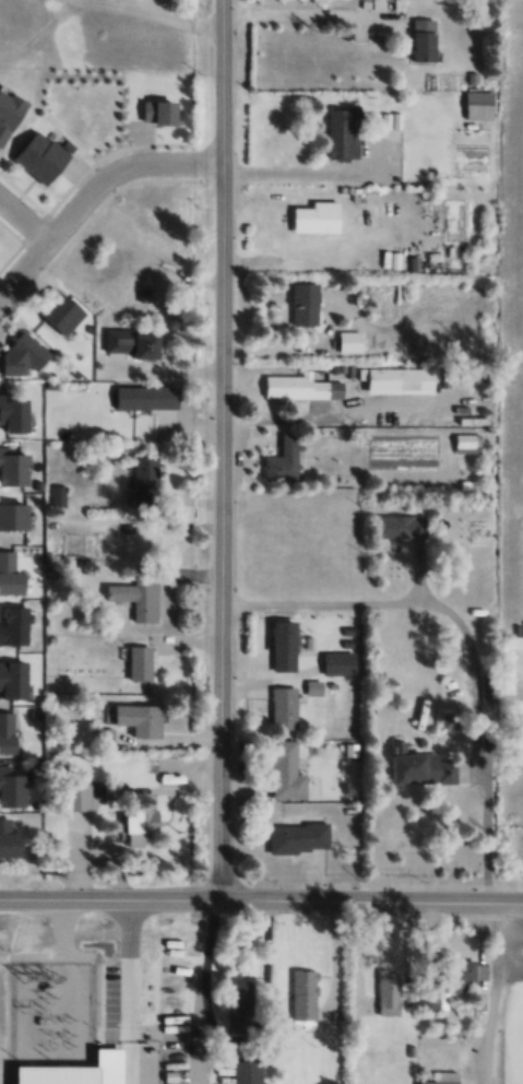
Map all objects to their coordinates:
road: (214, 37)
building: (424, 39)
building: (161, 111)
building: (10, 113)
building: (344, 132)
building: (41, 156)
road: (91, 193)
road: (25, 212)
building: (317, 217)
road: (213, 231)
building: (116, 262)
building: (305, 306)
building: (60, 313)
building: (349, 342)
building: (140, 345)
building: (25, 356)
building: (400, 380)
building: (301, 387)
building: (133, 398)
building: (15, 413)
building: (474, 444)
building: (285, 460)
building: (14, 466)
building: (145, 478)
road: (212, 488)
building: (57, 496)
building: (14, 517)
building: (403, 527)
building: (11, 575)
building: (138, 596)
building: (15, 627)
building: (285, 646)
road: (212, 658)
building: (140, 663)
building: (340, 663)
building: (13, 680)
building: (284, 709)
building: (139, 719)
building: (8, 733)
building: (423, 766)
building: (287, 771)
building: (11, 789)
road: (214, 812)
building: (138, 827)
building: (298, 836)
building: (9, 839)
road: (21, 895)
road: (90, 896)
road: (331, 898)
building: (464, 973)
building: (388, 991)
road: (485, 993)
building: (427, 998)
building: (304, 1000)
building: (240, 1006)
power substation: (49, 1013)
park: (513, 1032)
building: (248, 1072)
building: (444, 1077)

